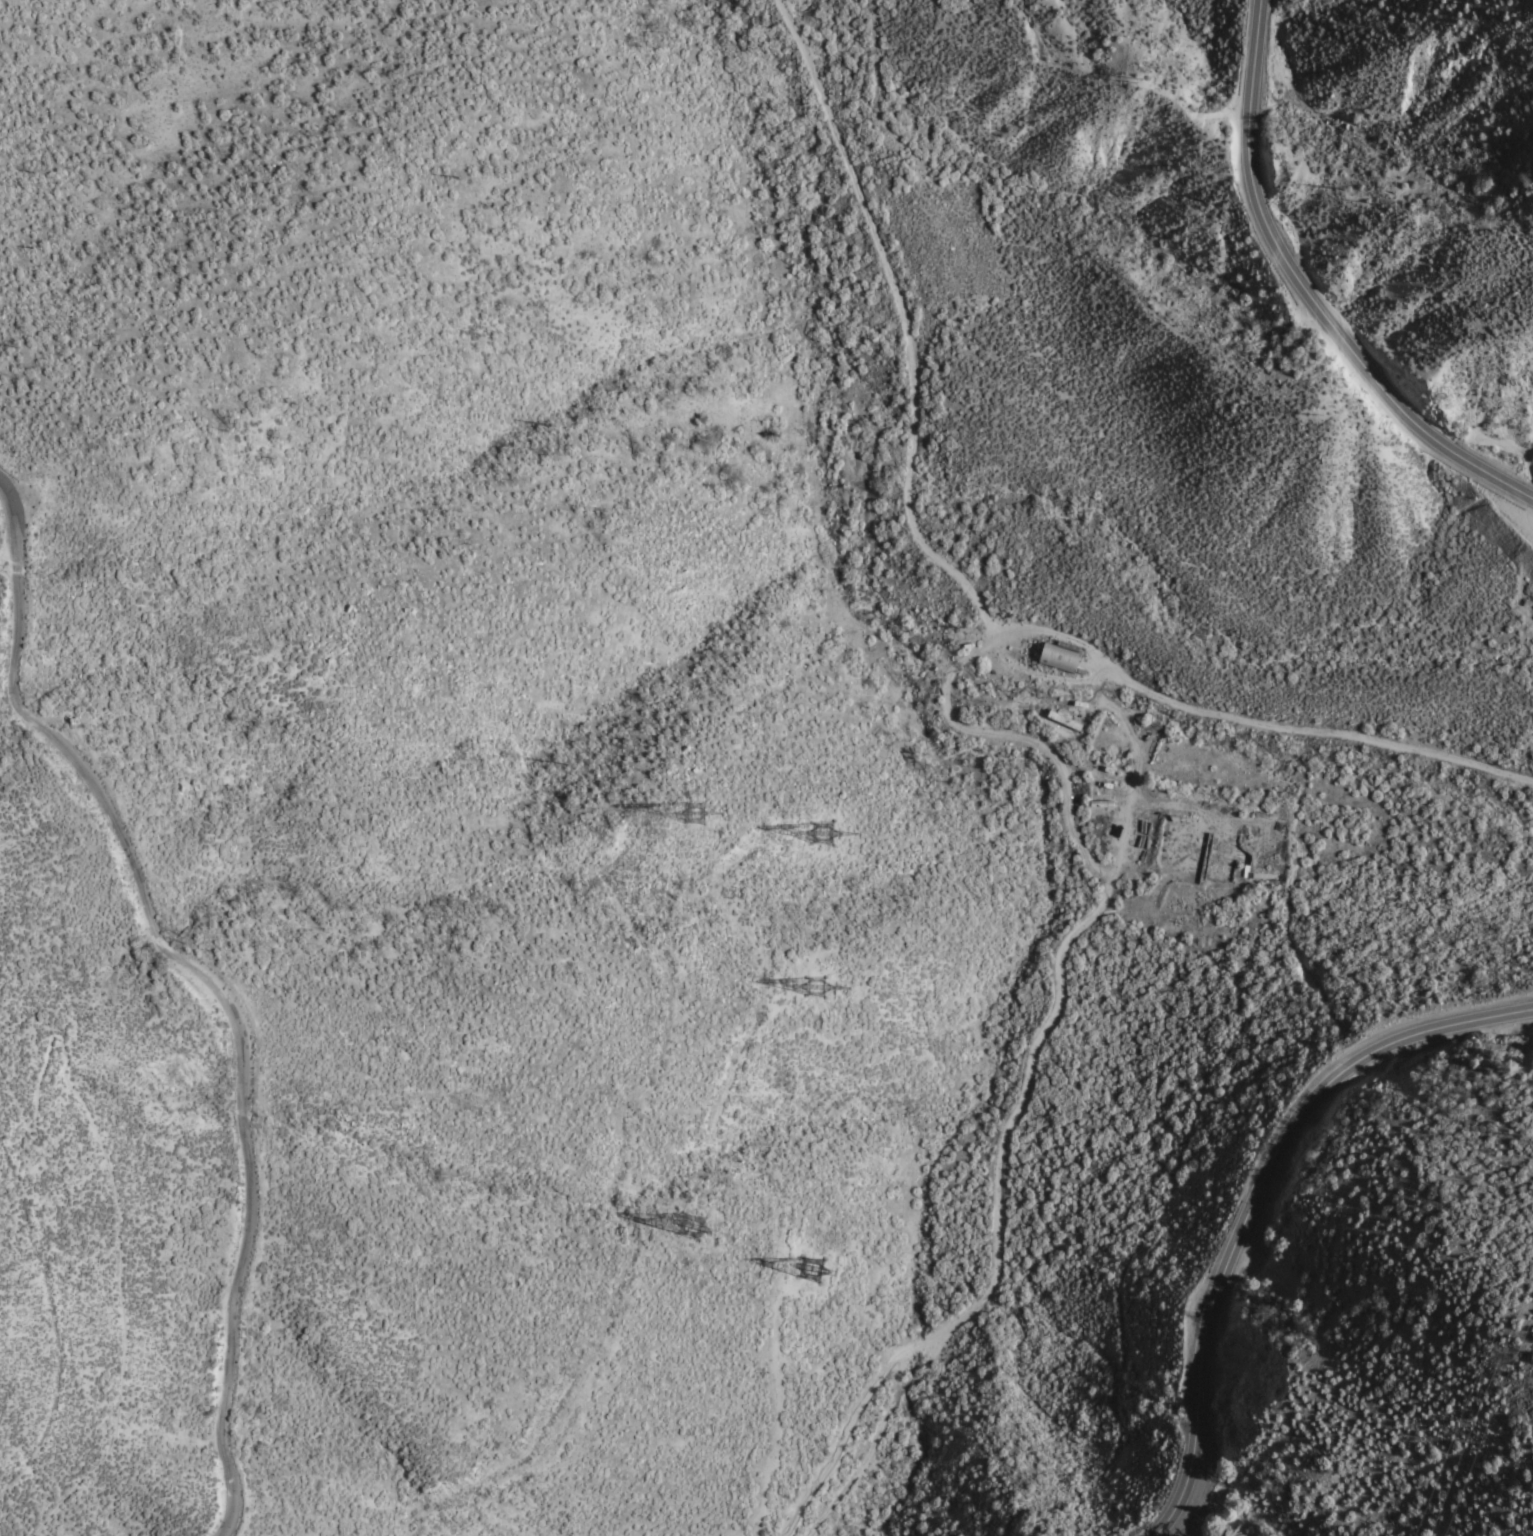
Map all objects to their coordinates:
road: (1306, 294)
building: (1060, 658)
building: (1063, 720)
power tower: (716, 824)
power tower: (829, 830)
road: (209, 977)
power tower: (829, 978)
road: (749, 1160)
road: (1255, 1196)
road: (636, 1199)
road: (116, 1212)
road: (1000, 1231)
power tower: (716, 1234)
power tower: (829, 1262)
power tower: (1502, 1360)

